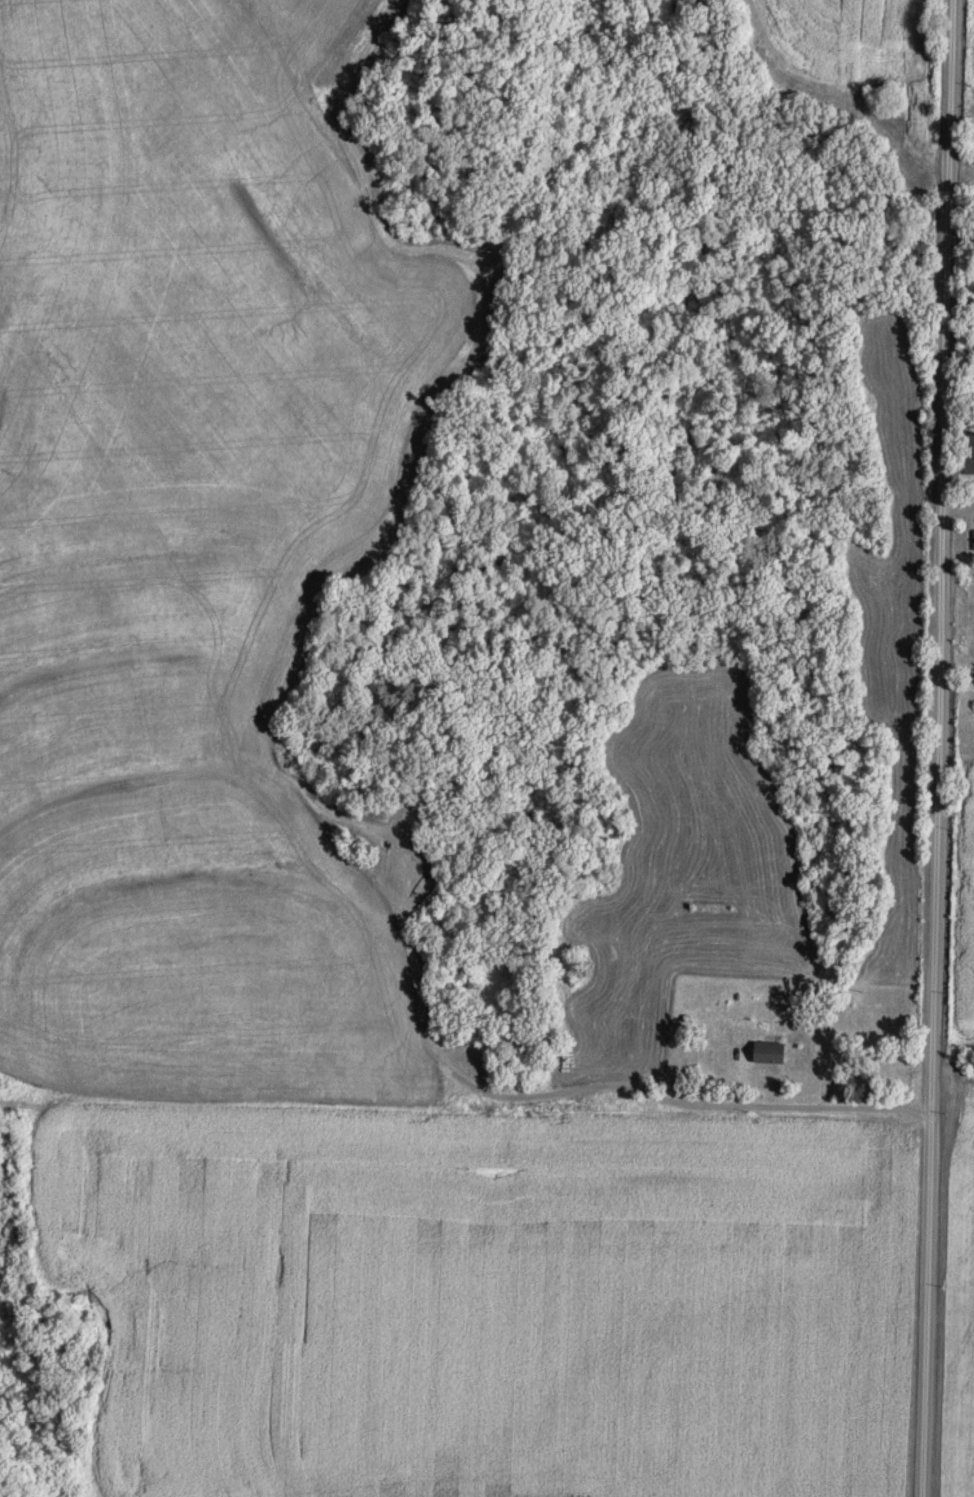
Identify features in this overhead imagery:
building: (969, 452)
road: (957, 502)
building: (973, 537)
road: (939, 748)
building: (772, 1052)
crop: (479, 1300)
crop: (961, 1304)

